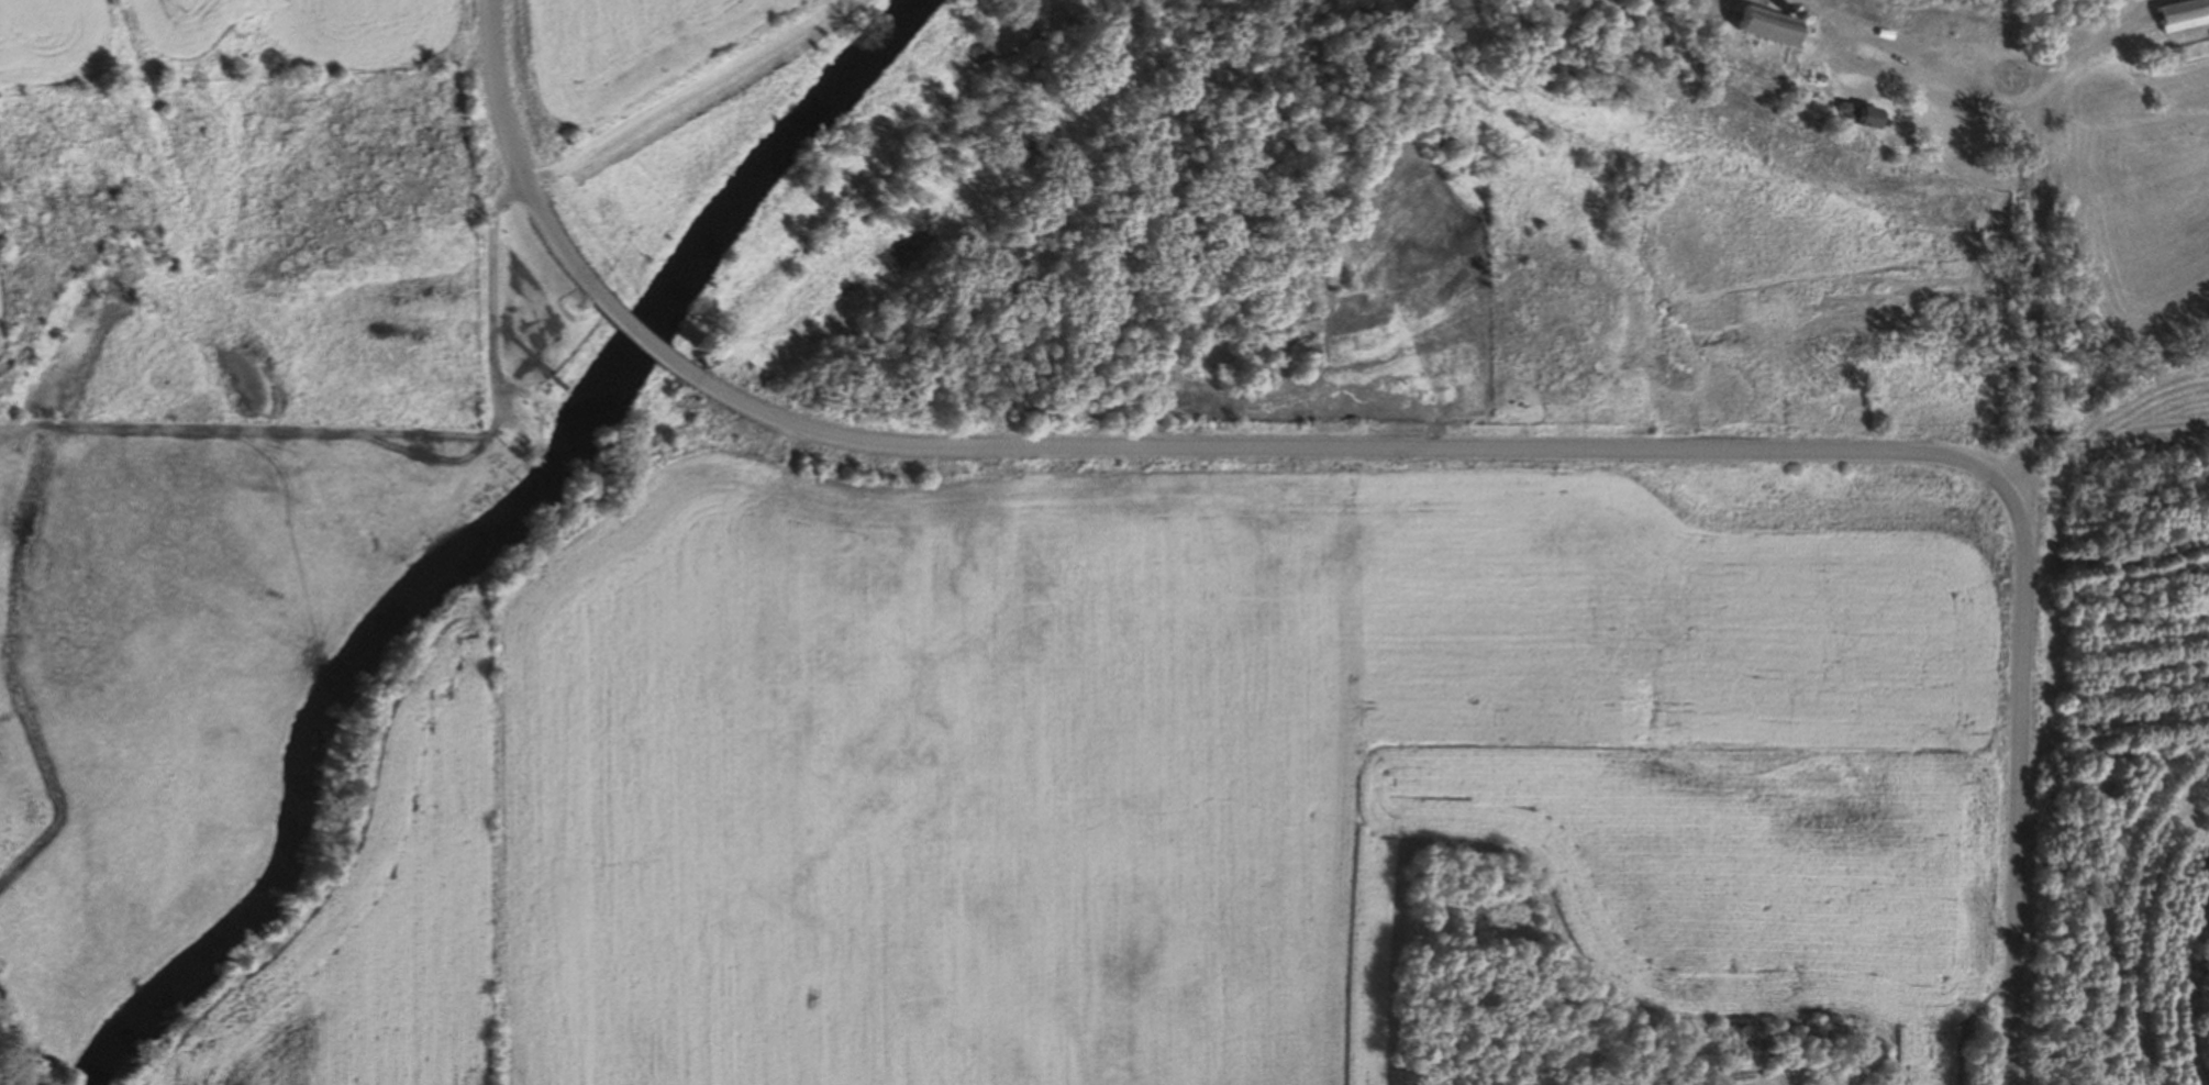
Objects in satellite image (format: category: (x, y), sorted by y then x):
building: (2178, 14)
building: (1756, 24)
road: (1979, 99)
building: (1852, 114)
road: (519, 171)
road: (2027, 330)
road: (645, 344)
road: (1352, 445)
river: (484, 535)
road: (2019, 796)

